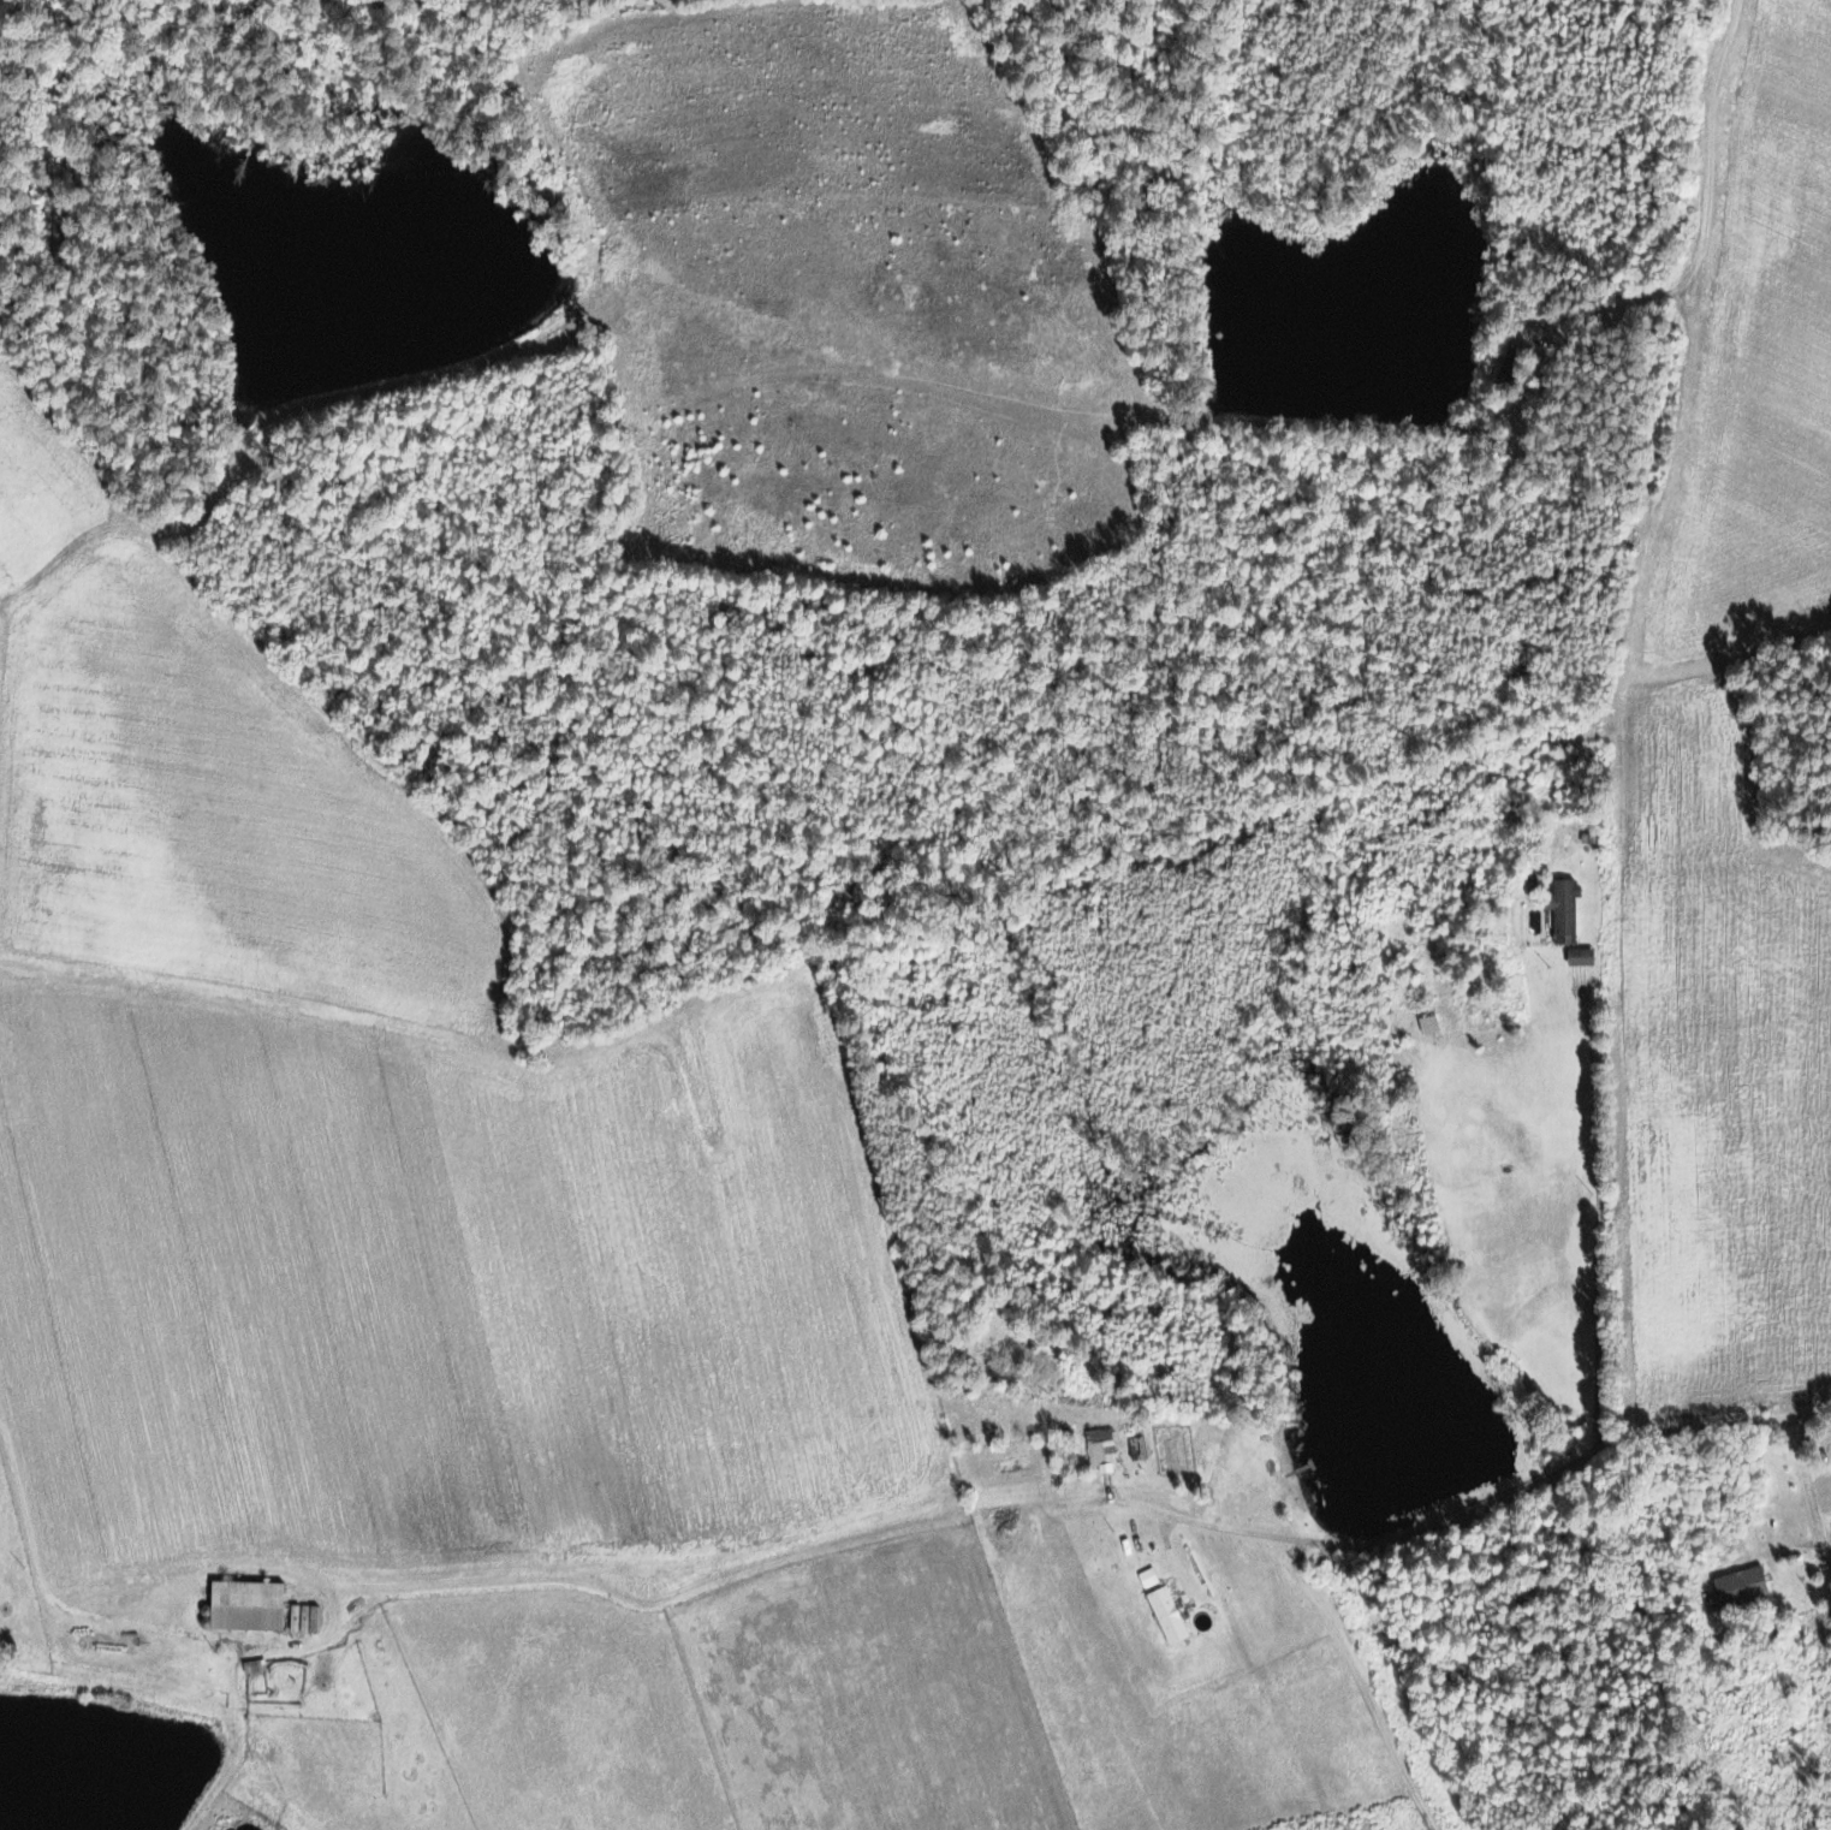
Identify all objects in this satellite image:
building: (1562, 910)
building: (1579, 957)
building: (1100, 1449)
road: (1814, 1510)
road: (1415, 1531)
road: (29, 1551)
building: (1738, 1586)
building: (243, 1605)
building: (1165, 1615)
building: (302, 1617)
building: (251, 1665)
road: (1361, 1683)

